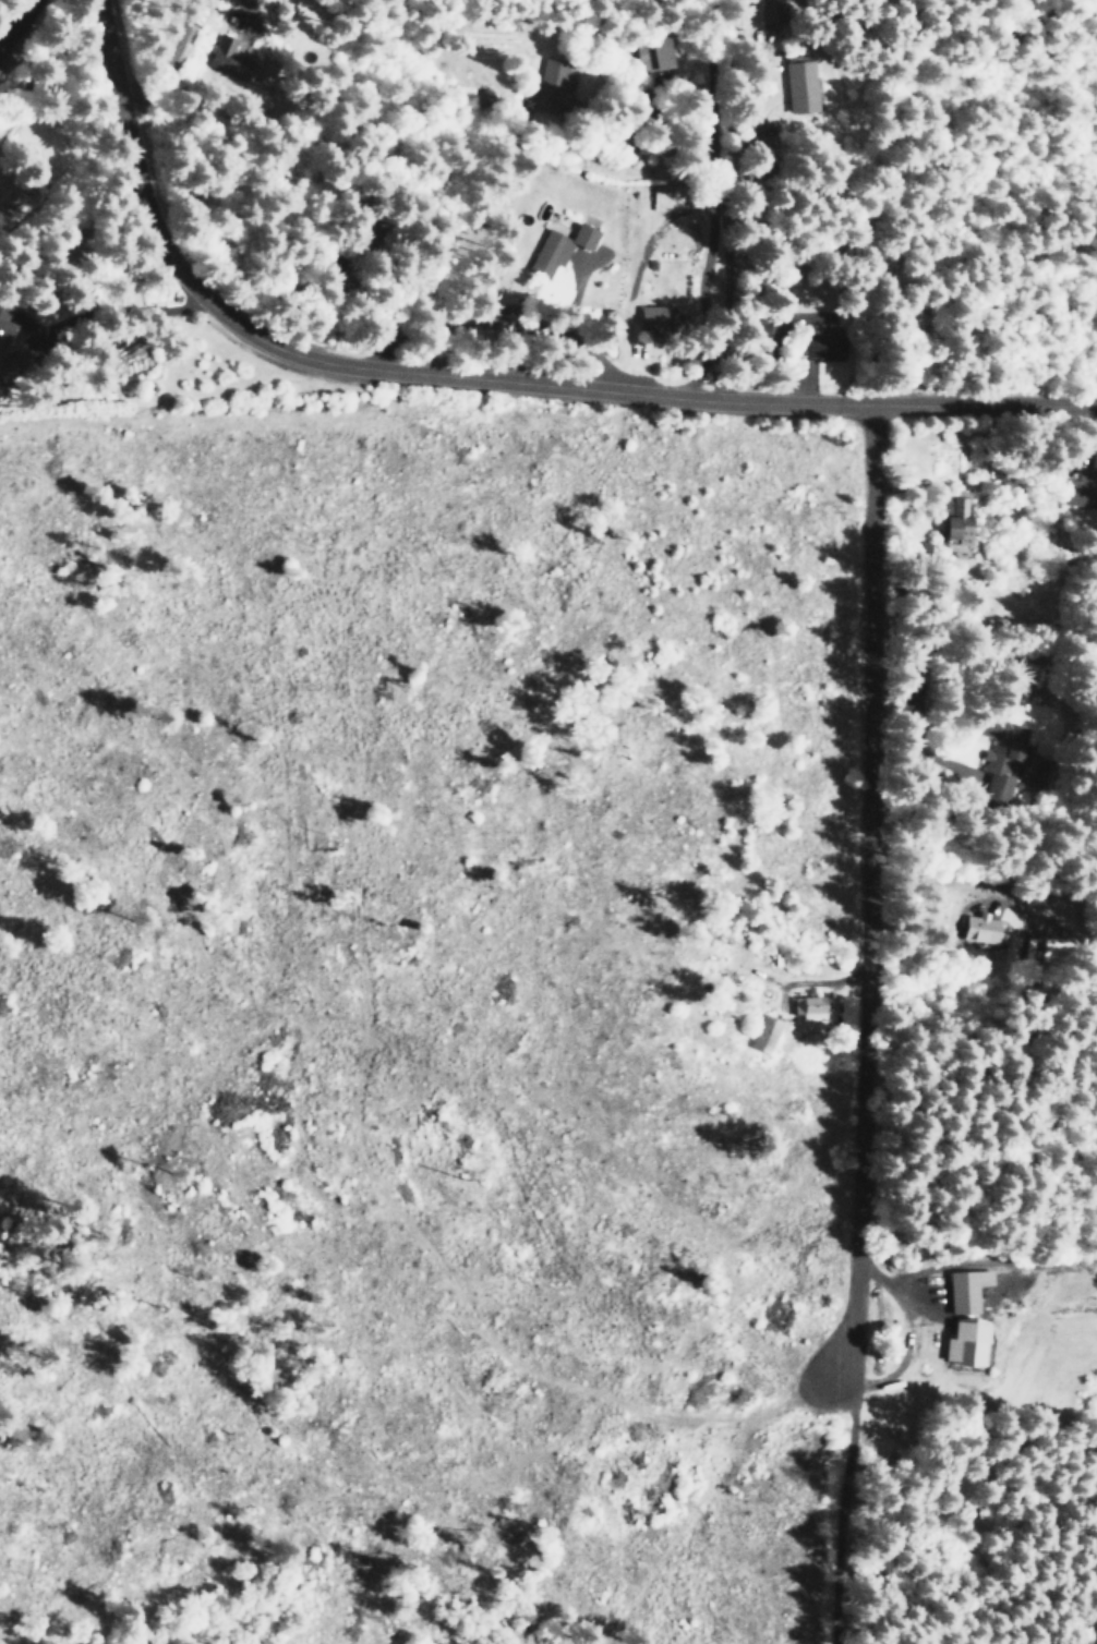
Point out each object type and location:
road: (11, 13)
road: (482, 379)
road: (856, 1025)

